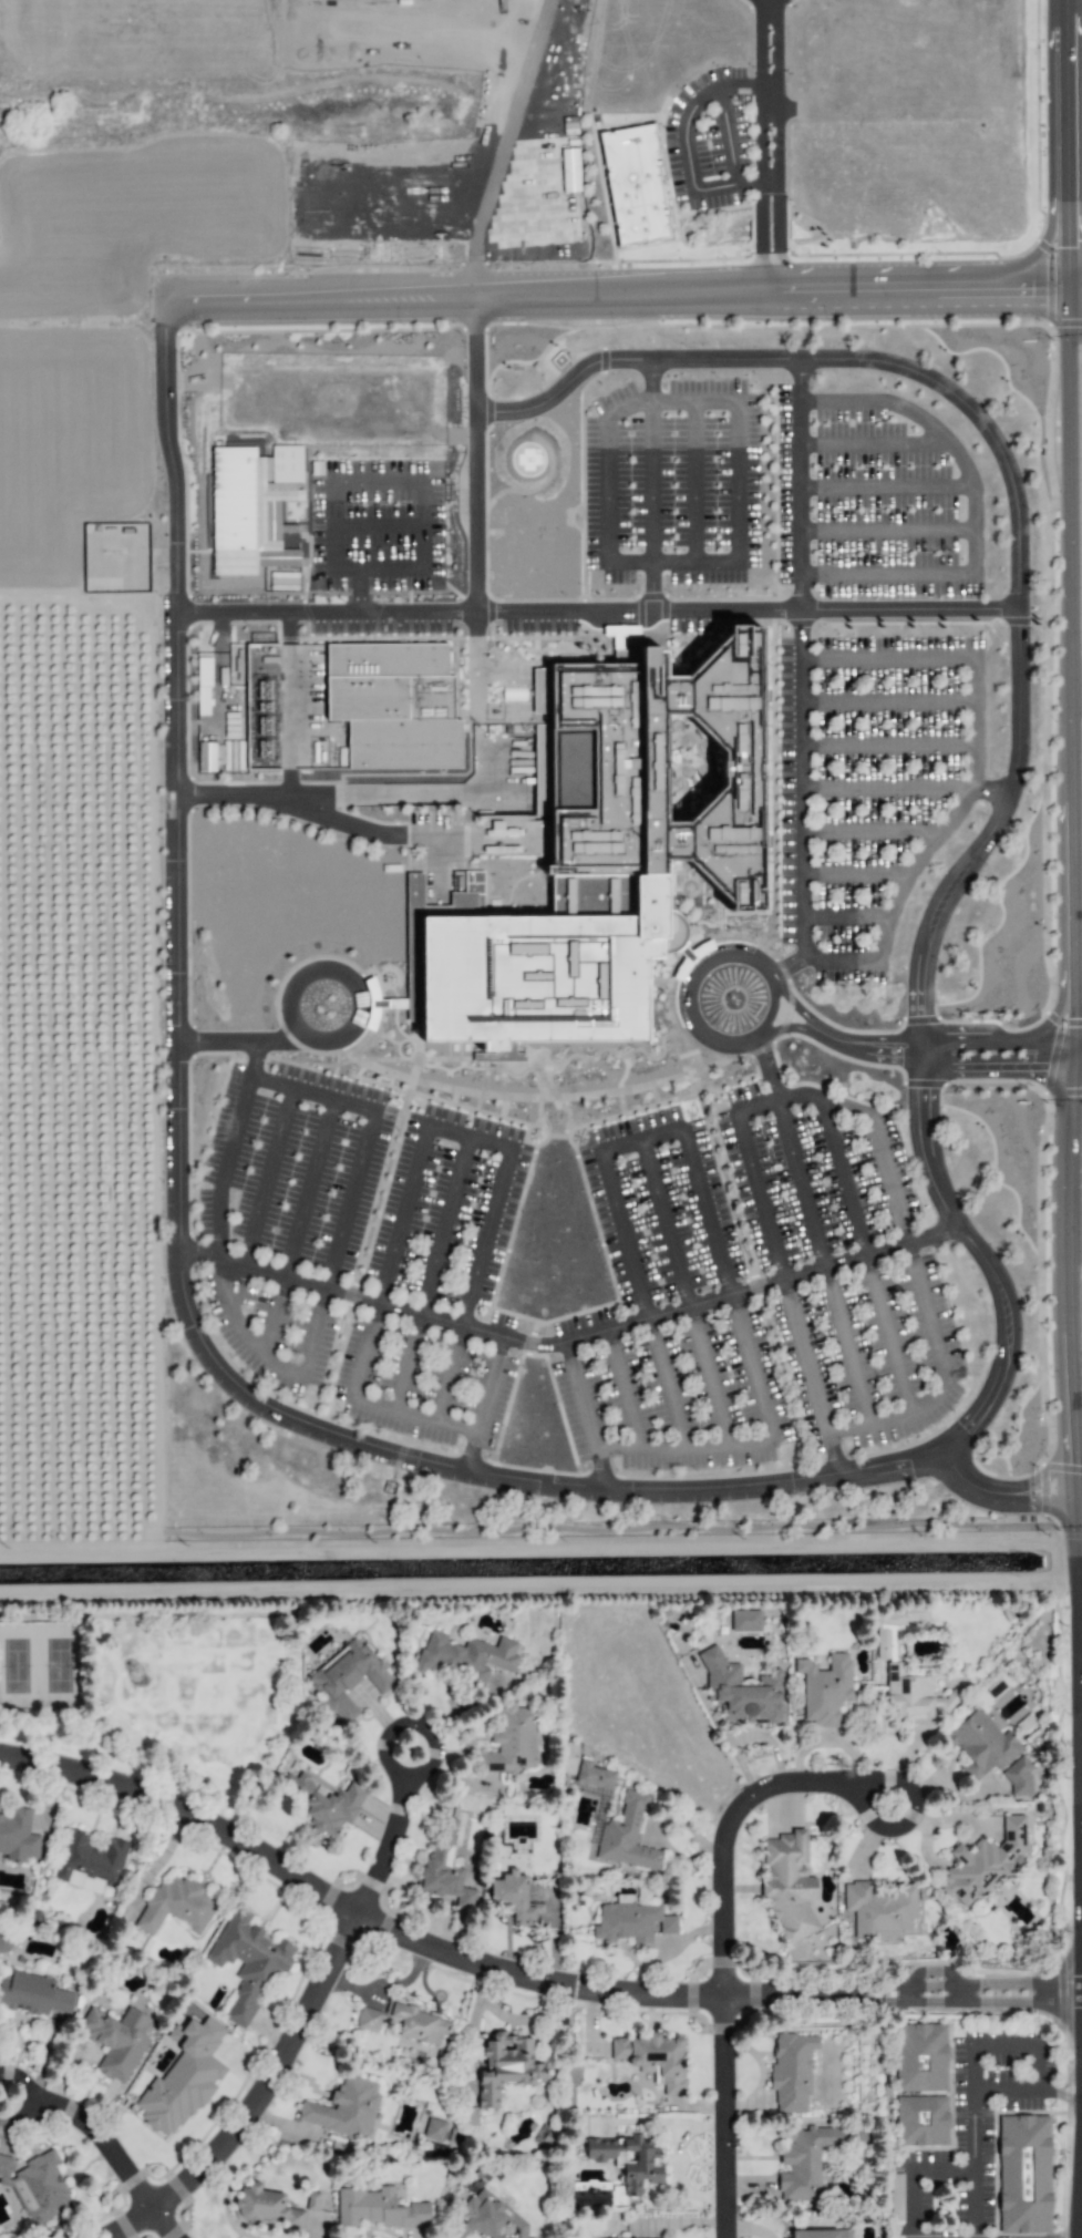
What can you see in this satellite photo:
road: (684, 144)
road: (503, 145)
road: (761, 145)
road: (777, 145)
building: (635, 185)
road: (622, 291)
road: (843, 402)
helipad: (526, 460)
road: (475, 463)
road: (965, 469)
road: (1008, 475)
road: (412, 483)
road: (650, 484)
parking lot: (670, 484)
parking lot: (873, 502)
building: (247, 515)
parking lot: (375, 543)
road: (693, 564)
road: (886, 573)
road: (70, 597)
road: (597, 609)
road: (1073, 645)
road: (886, 658)
building: (521, 670)
road: (801, 677)
road: (295, 702)
building: (390, 705)
road: (494, 712)
building: (206, 757)
parking lot: (868, 778)
road: (425, 783)
road: (989, 790)
road: (323, 801)
road: (952, 815)
building: (600, 848)
building: (414, 890)
crop: (76, 913)
road: (186, 920)
road: (722, 955)
road: (842, 957)
road: (297, 983)
road: (189, 1040)
road: (239, 1040)
road: (215, 1054)
road: (925, 1054)
road: (254, 1055)
road: (414, 1059)
road: (504, 1119)
road: (878, 1129)
road: (468, 1136)
road: (368, 1138)
road: (640, 1138)
road: (744, 1146)
road: (187, 1148)
road: (229, 1148)
road: (268, 1177)
road: (843, 1177)
road: (800, 1183)
road: (308, 1188)
road: (666, 1223)
road: (445, 1226)
parking lot: (361, 1250)
road: (188, 1253)
road: (352, 1276)
parking lot: (753, 1291)
road: (351, 1294)
road: (272, 1315)
road: (889, 1333)
road: (569, 1341)
road: (525, 1344)
road: (847, 1349)
road: (408, 1364)
road: (275, 1365)
road: (452, 1375)
road: (811, 1377)
road: (709, 1378)
road: (945, 1378)
road: (321, 1385)
road: (491, 1385)
road: (666, 1385)
road: (625, 1390)
road: (317, 1399)
road: (285, 1404)
road: (261, 1405)
road: (388, 1408)
road: (505, 1409)
road: (585, 1415)
road: (759, 1445)
road: (468, 1461)
road: (485, 1461)
road: (487, 1468)
road: (1004, 1488)
building: (745, 1620)
building: (894, 1628)
building: (465, 1656)
building: (348, 1679)
building: (742, 1690)
building: (824, 1690)
building: (913, 1694)
building: (511, 1741)
building: (989, 1751)
building: (594, 1776)
building: (324, 1804)
road: (715, 1827)
building: (627, 1835)
building: (18, 1836)
road: (373, 1842)
building: (90, 1862)
building: (983, 1862)
building: (445, 1866)
building: (787, 1885)
building: (514, 1898)
building: (175, 1906)
building: (879, 1910)
building: (631, 1923)
building: (247, 1962)
road: (517, 1984)
building: (33, 1994)
building: (404, 2021)
building: (115, 2040)
road: (468, 2042)
road: (1002, 2045)
building: (920, 2057)
building: (655, 2059)
building: (506, 2066)
building: (791, 2072)
building: (183, 2077)
road: (1060, 2080)
road: (1060, 2091)
road: (249, 2102)
building: (344, 2108)
road: (970, 2118)
road: (711, 2119)
building: (921, 2121)
building: (434, 2129)
road: (84, 2139)
building: (803, 2160)
building: (640, 2163)
road: (914, 2169)
building: (1023, 2174)
building: (38, 2186)
building: (266, 2207)
building: (381, 2210)
building: (492, 2217)
road: (150, 2227)
building: (821, 2234)

